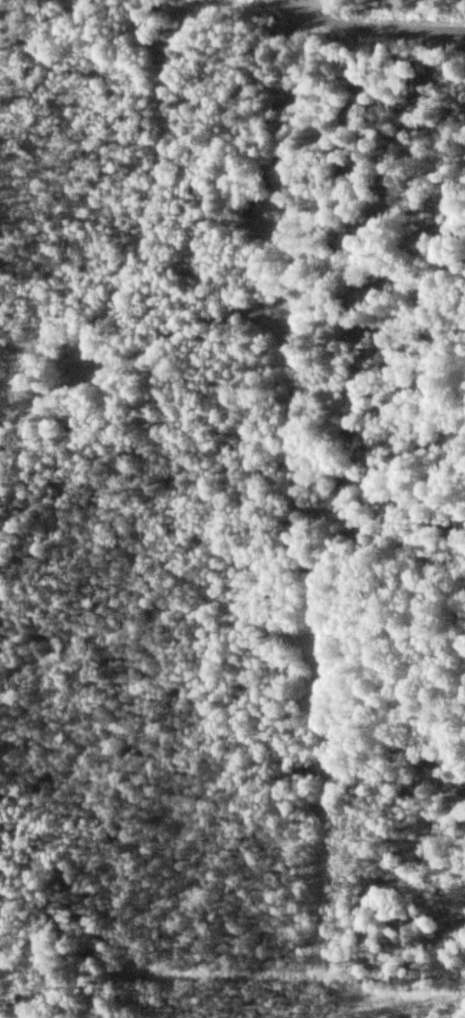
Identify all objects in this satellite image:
road: (401, 983)

